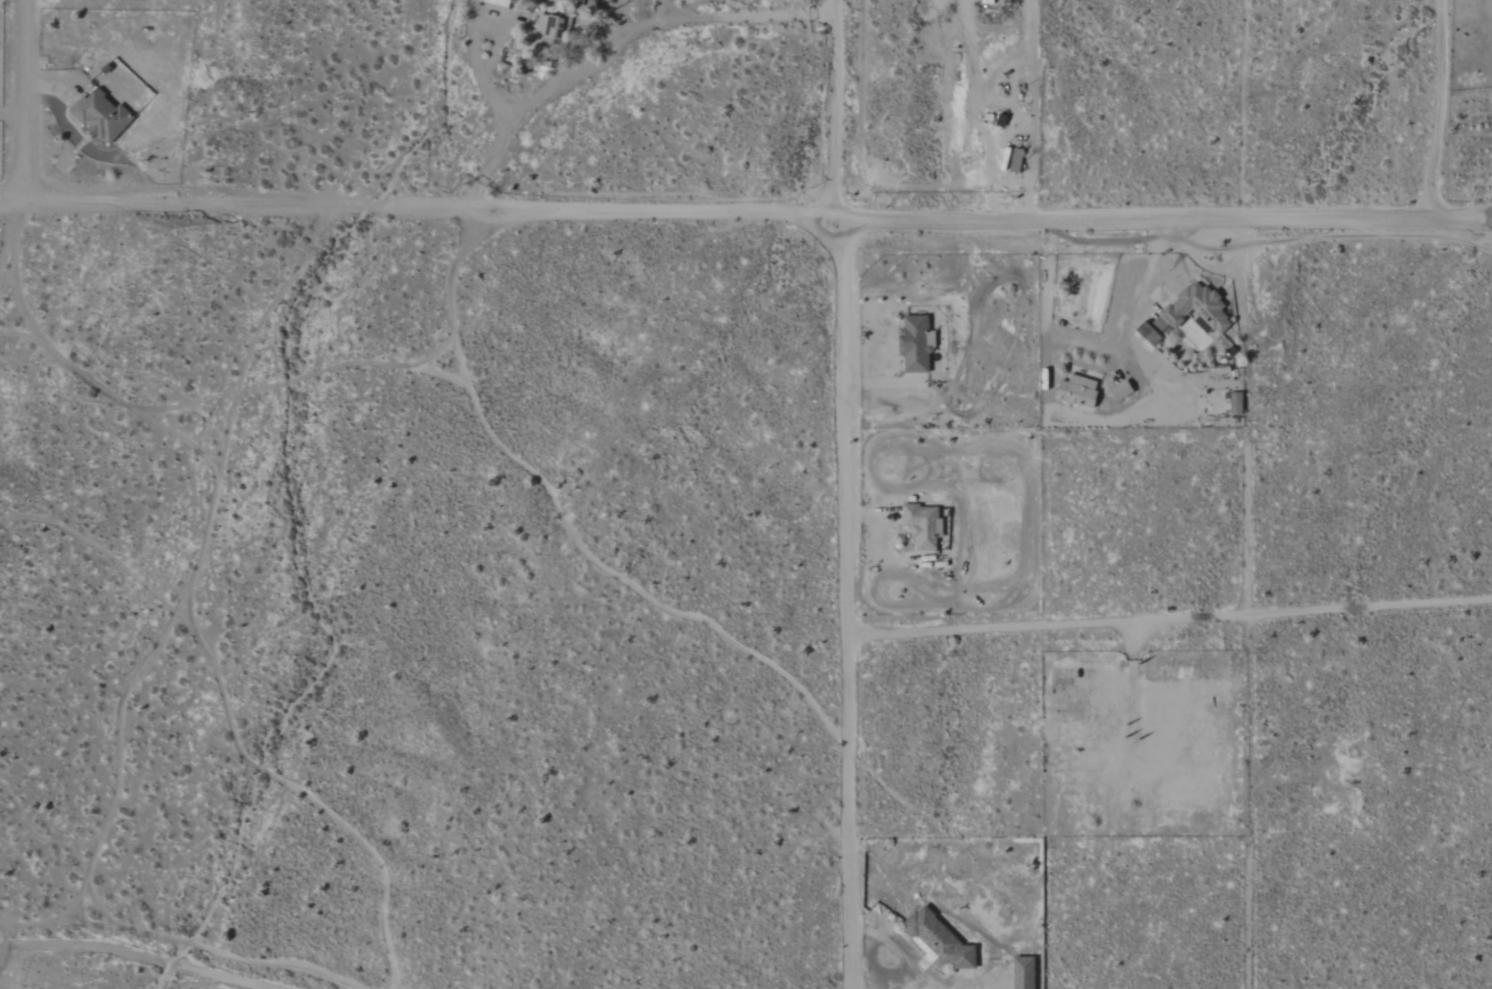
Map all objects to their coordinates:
building: (502, 3)
road: (667, 9)
building: (552, 30)
road: (614, 47)
road: (478, 64)
road: (26, 100)
road: (1032, 106)
road: (1441, 107)
road: (13, 115)
building: (103, 116)
building: (1019, 161)
road: (745, 208)
road: (1141, 276)
building: (1191, 314)
building: (918, 343)
building: (1081, 389)
building: (1124, 391)
building: (1238, 404)
road: (841, 494)
building: (926, 527)
road: (1169, 619)
building: (943, 941)
road: (896, 952)
building: (1026, 973)

